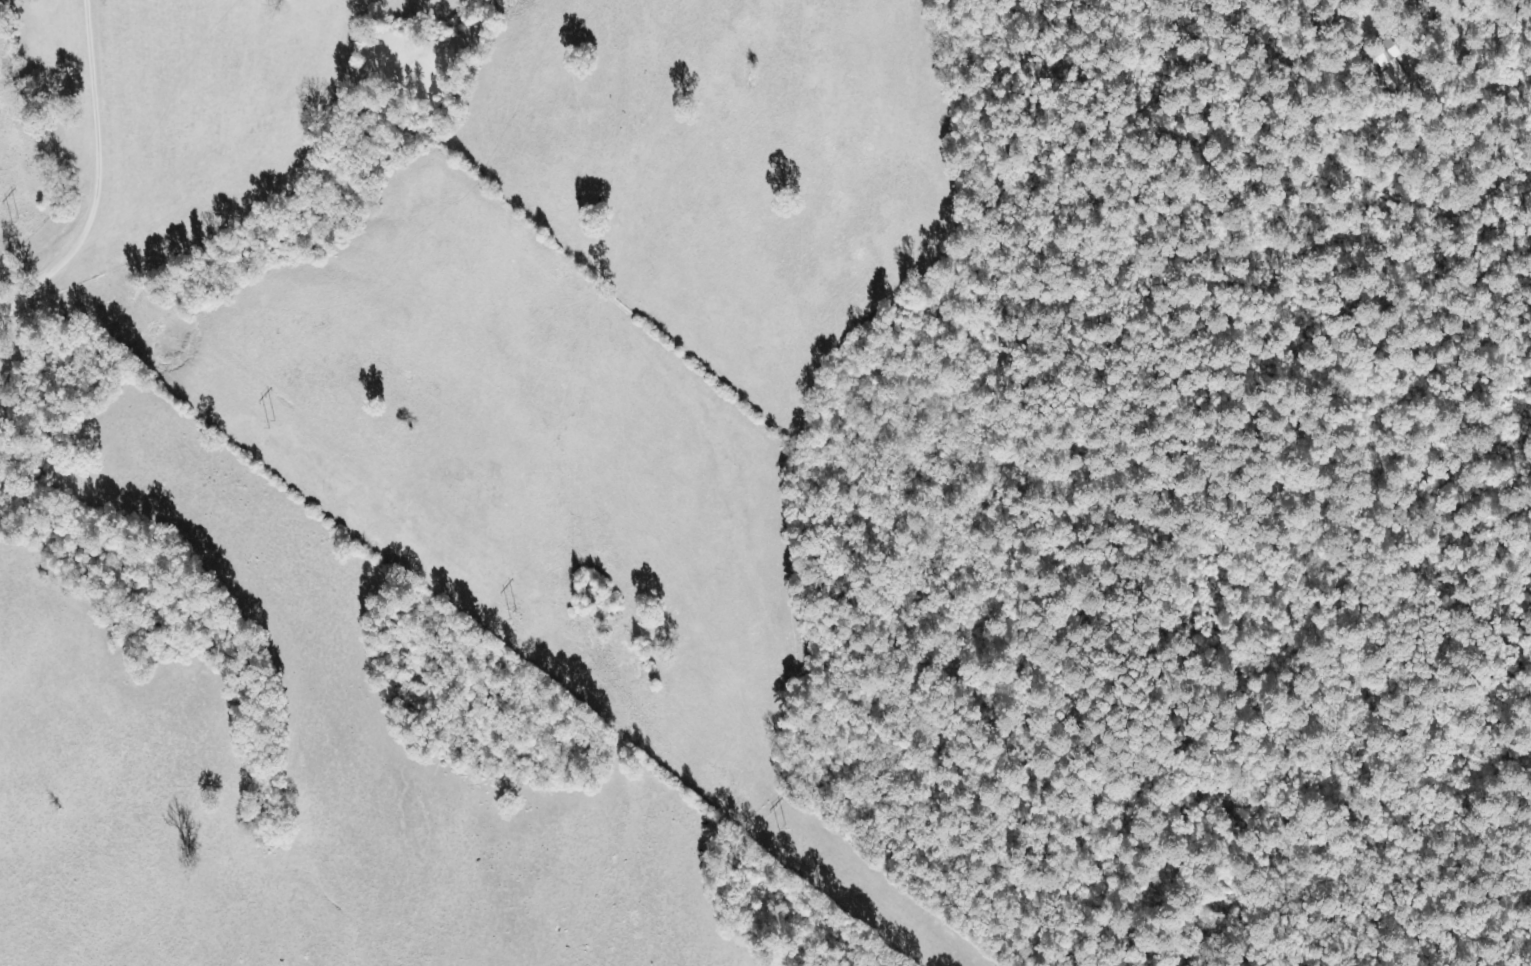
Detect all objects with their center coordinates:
building: (1389, 63)
road: (105, 168)
power tower: (16, 218)
power tower: (272, 423)
power tower: (511, 615)
power tower: (781, 826)

